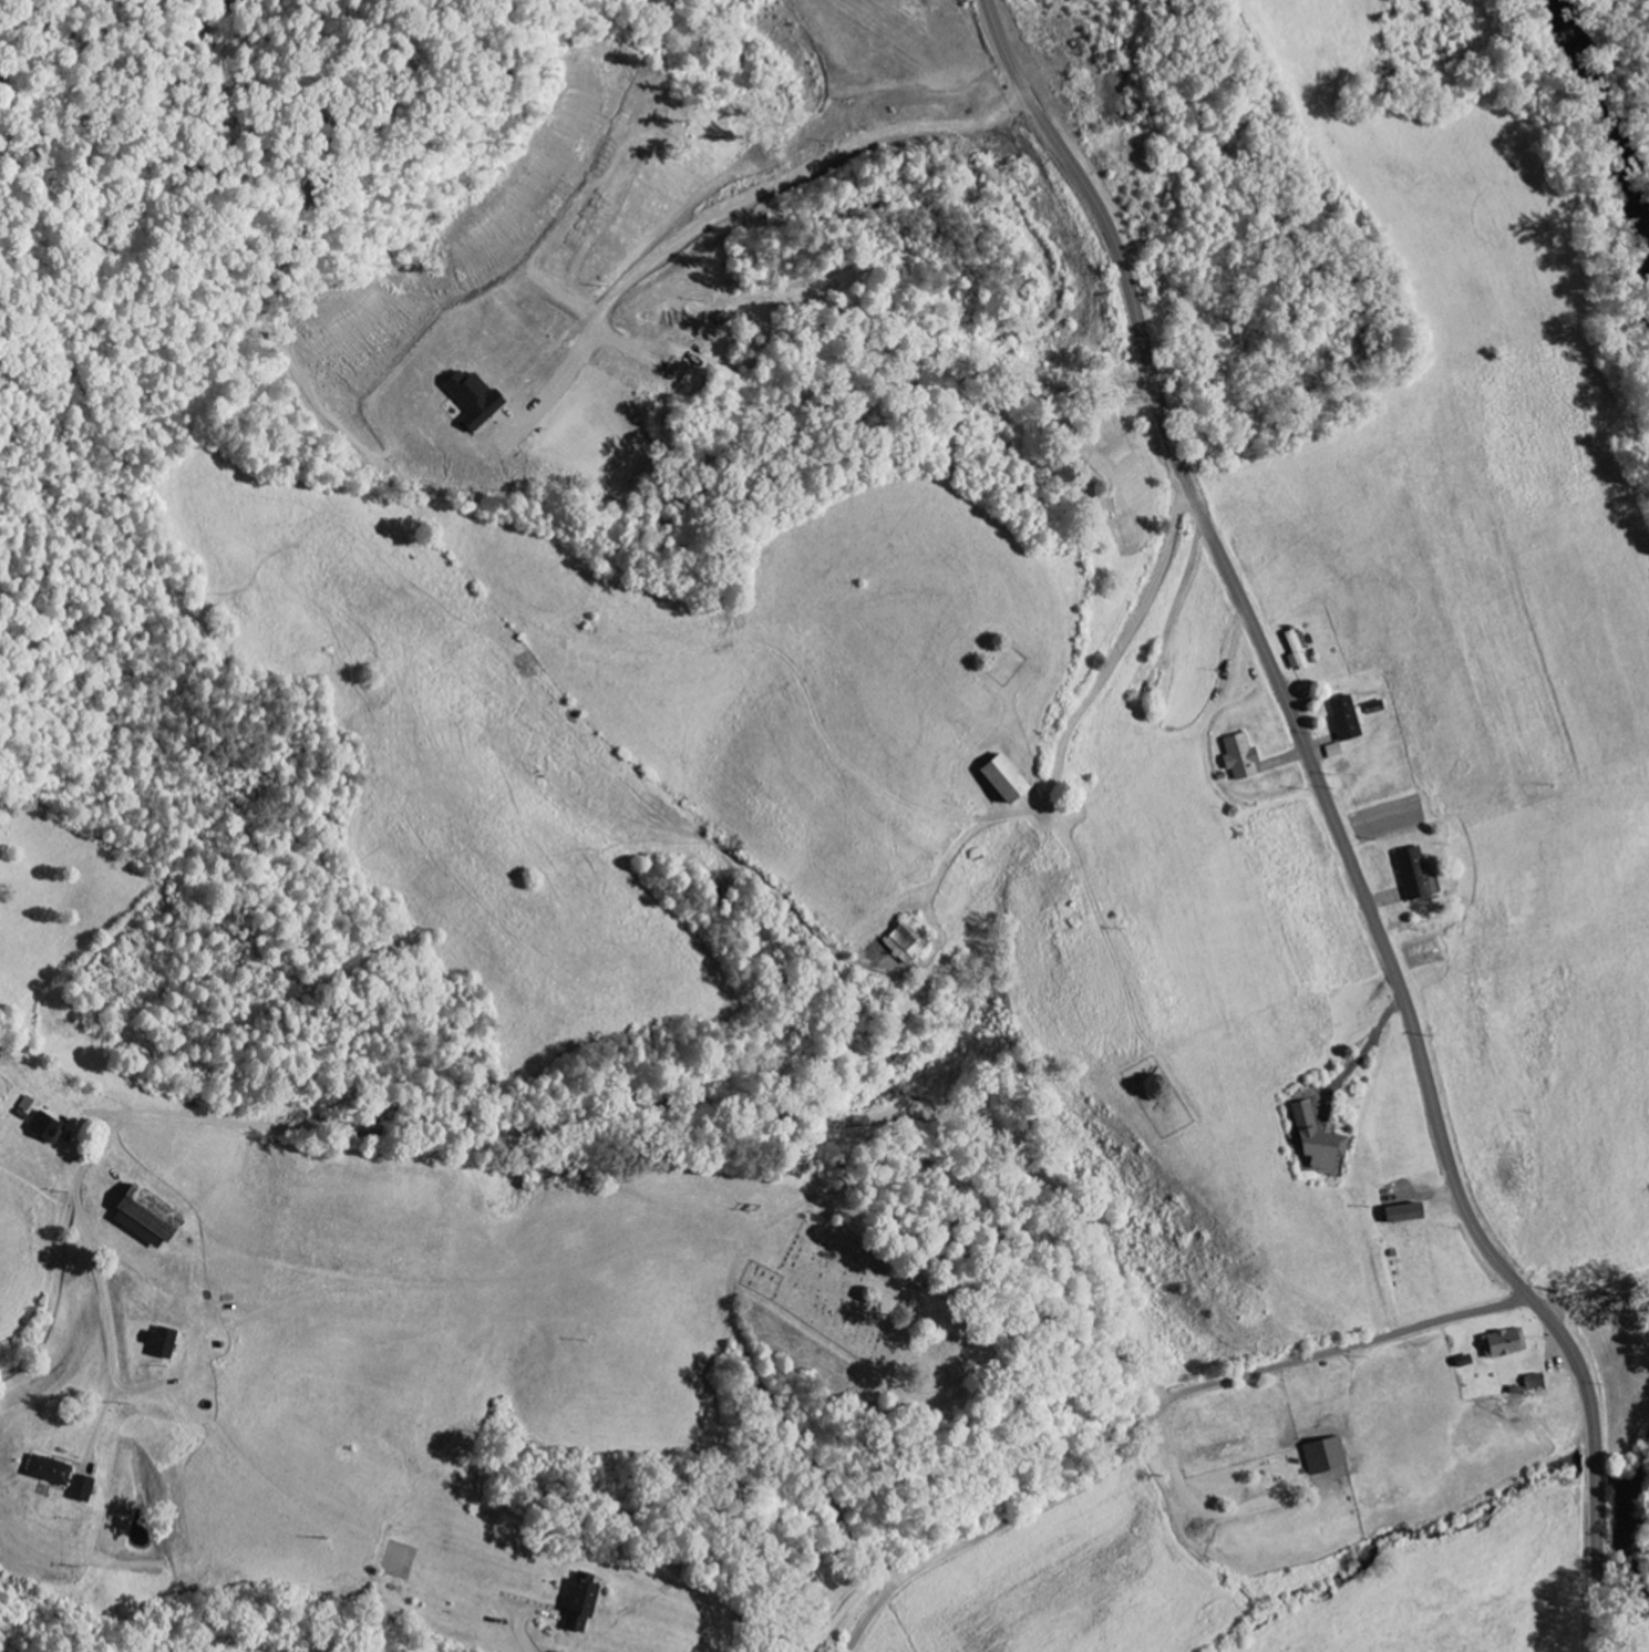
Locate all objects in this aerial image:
road: (1525, 39)
river: (1604, 134)
building: (470, 401)
road: (1152, 411)
building: (1295, 651)
building: (1346, 719)
building: (1332, 752)
building: (1238, 757)
building: (997, 778)
road: (1336, 818)
building: (1411, 874)
road: (573, 1122)
building: (47, 1133)
road: (504, 1144)
building: (1400, 1214)
building: (140, 1217)
road: (1596, 1293)
park: (870, 1305)
building: (157, 1343)
building: (1502, 1344)
building: (1531, 1381)
road: (1155, 1413)
building: (1322, 1456)
building: (45, 1472)
building: (79, 1489)
river: (1635, 1542)
building: (577, 1605)

